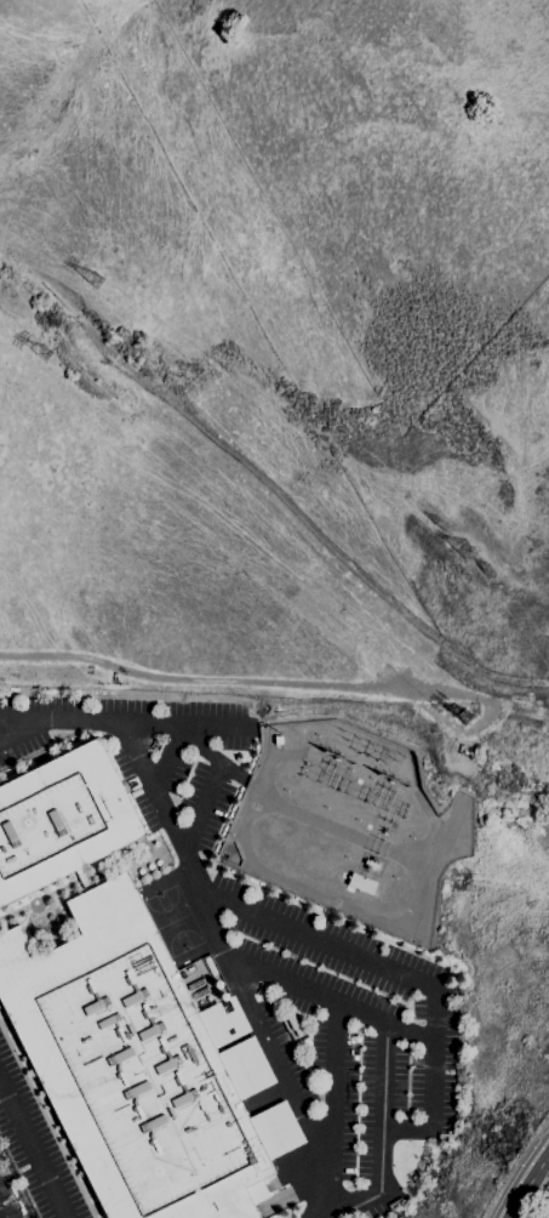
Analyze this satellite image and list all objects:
power tower: (96, 281)
power tower: (44, 352)
power tower: (438, 525)
power tower: (487, 573)
power tower: (464, 716)
road: (121, 722)
road: (21, 727)
road: (199, 747)
road: (167, 756)
building: (459, 764)
road: (201, 807)
building: (61, 820)
power substation: (348, 824)
building: (371, 863)
building: (82, 878)
building: (361, 883)
park: (175, 922)
road: (219, 949)
road: (402, 975)
parking lot: (189, 990)
road: (327, 998)
building: (293, 1024)
building: (141, 1066)
road: (330, 1108)
road: (381, 1137)
road: (33, 1151)
road: (527, 1186)
road: (548, 1217)

